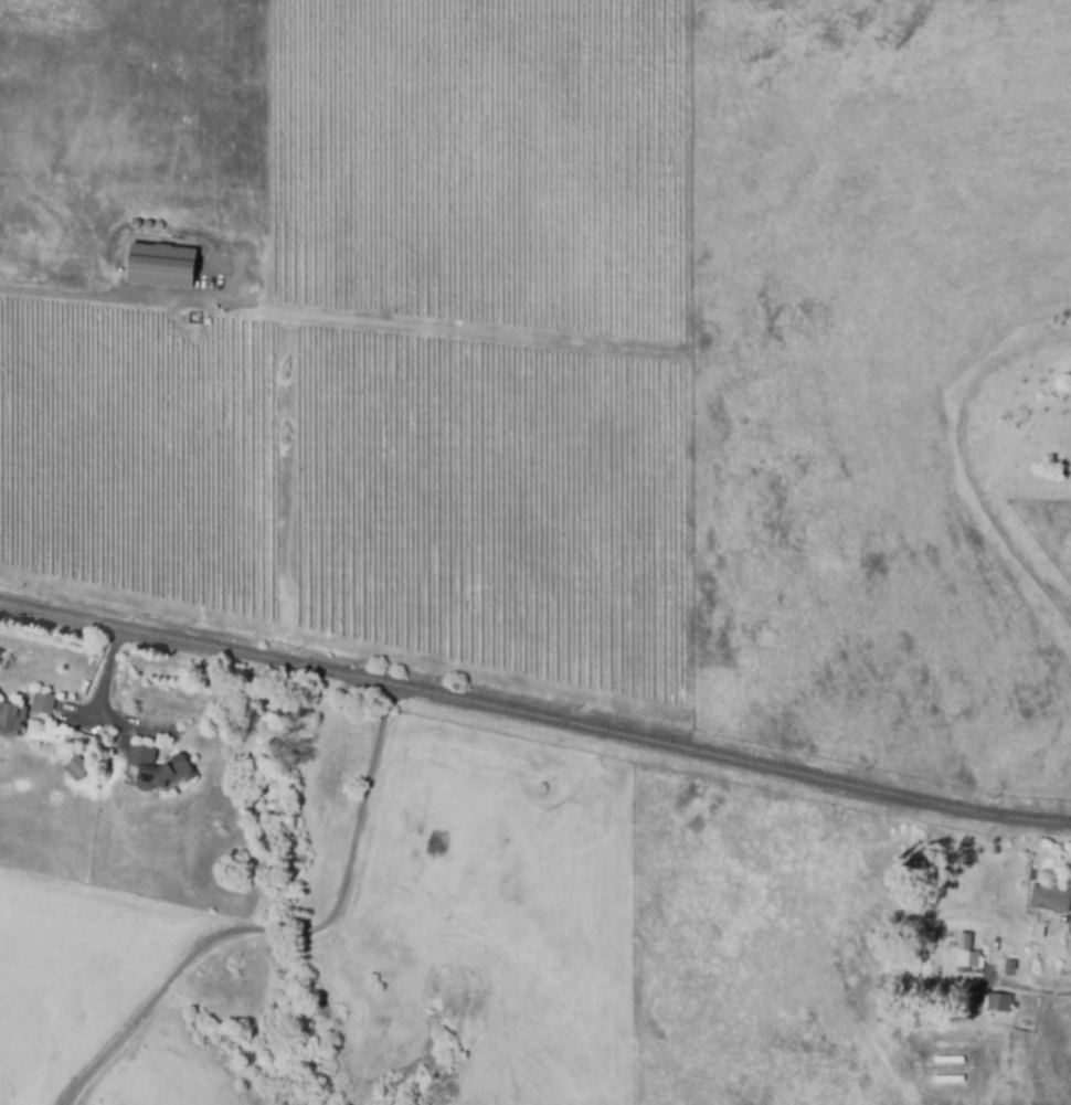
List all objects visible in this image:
building: (159, 269)
road: (63, 294)
building: (197, 321)
road: (963, 464)
building: (44, 703)
building: (12, 713)
road: (534, 721)
building: (77, 766)
building: (156, 768)
building: (1051, 899)
road: (284, 931)
building: (1040, 933)
building: (1041, 958)
building: (968, 960)
building: (1010, 968)
building: (985, 1002)

